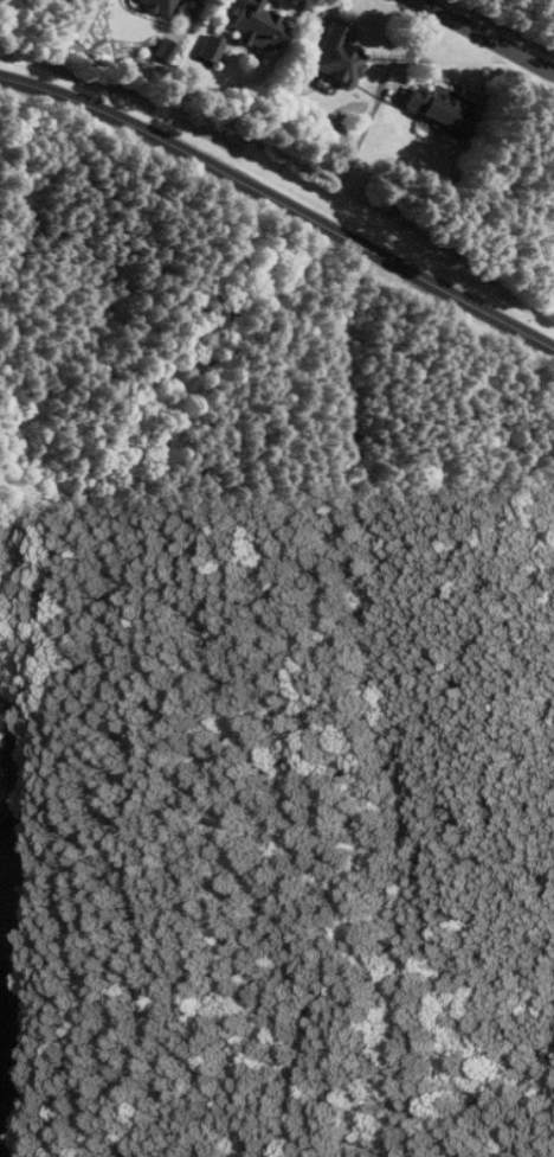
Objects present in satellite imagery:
building: (157, 6)
building: (259, 26)
road: (482, 39)
building: (212, 50)
building: (166, 52)
building: (337, 57)
building: (442, 110)
road: (281, 204)
road: (408, 701)

